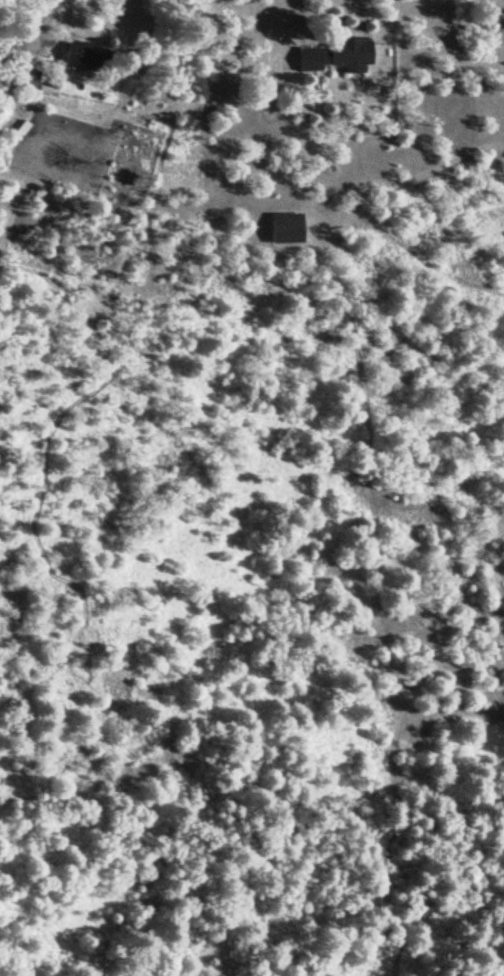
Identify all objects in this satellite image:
building: (338, 57)
building: (85, 58)
building: (28, 80)
building: (286, 229)

